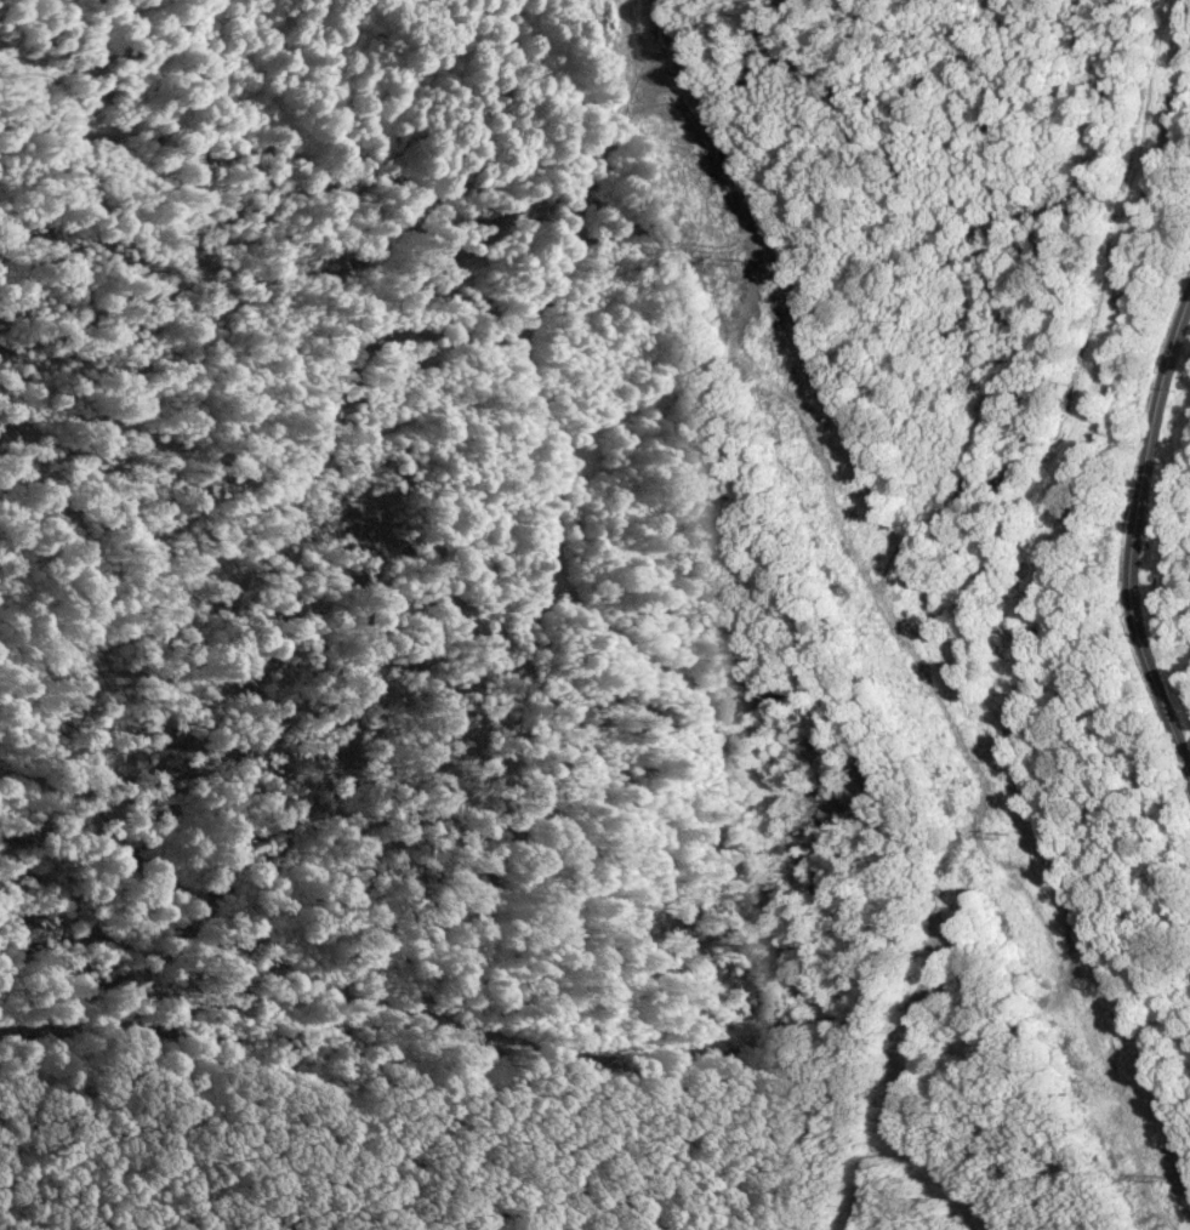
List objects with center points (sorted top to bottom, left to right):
road: (1162, 507)

